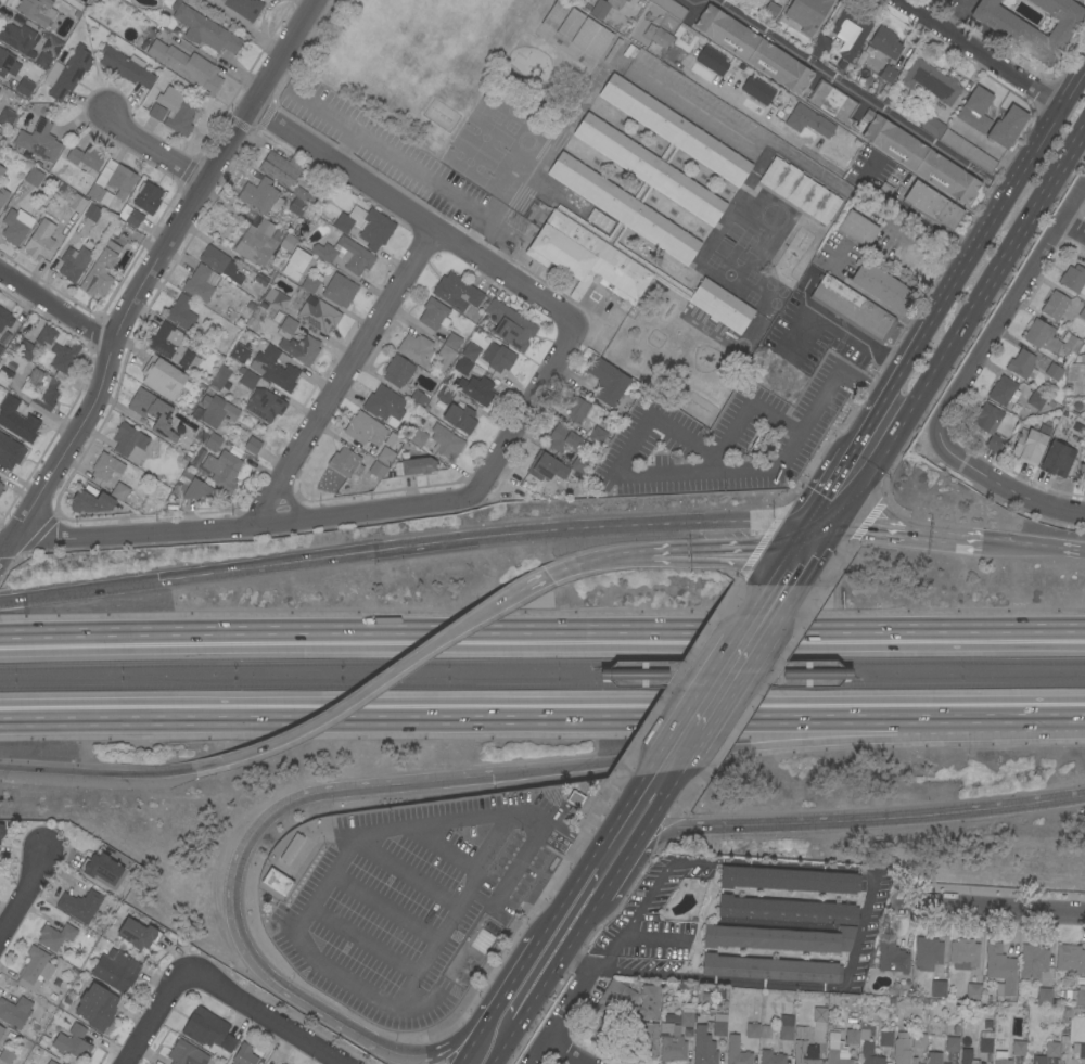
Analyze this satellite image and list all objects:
building: (627, 0)
building: (687, 0)
building: (767, 0)
building: (604, 7)
building: (243, 8)
building: (669, 8)
building: (771, 9)
building: (37, 11)
building: (807, 13)
building: (554, 15)
road: (954, 16)
building: (570, 25)
road: (243, 26)
building: (204, 29)
building: (1011, 29)
building: (851, 33)
building: (18, 37)
building: (659, 37)
building: (590, 38)
building: (884, 42)
building: (51, 47)
building: (819, 47)
building: (753, 49)
building: (612, 50)
road: (973, 53)
park: (417, 59)
building: (712, 61)
building: (8, 64)
building: (188, 66)
building: (125, 67)
building: (876, 67)
building: (71, 73)
building: (886, 74)
building: (931, 81)
building: (24, 87)
road: (844, 87)
building: (757, 90)
parking lot: (695, 103)
building: (832, 103)
building: (975, 110)
building: (176, 111)
building: (156, 113)
road: (320, 113)
building: (7, 117)
building: (807, 120)
building: (1007, 126)
park: (483, 137)
road: (736, 137)
building: (39, 141)
building: (954, 141)
road: (1080, 142)
road: (156, 148)
parking lot: (379, 148)
road: (810, 149)
road: (341, 153)
building: (86, 157)
building: (919, 158)
park: (467, 161)
building: (280, 168)
building: (1, 170)
building: (33, 178)
building: (122, 180)
road: (434, 181)
road: (1006, 189)
building: (800, 190)
building: (94, 192)
building: (3, 195)
building: (306, 195)
building: (260, 196)
building: (148, 197)
building: (105, 198)
building: (76, 203)
building: (638, 206)
building: (932, 206)
building: (296, 207)
road: (1031, 209)
building: (92, 213)
road: (409, 216)
building: (133, 218)
building: (599, 220)
building: (15, 226)
building: (366, 226)
road: (904, 228)
building: (857, 229)
road: (1072, 234)
building: (39, 241)
building: (255, 242)
building: (285, 243)
building: (346, 255)
building: (217, 261)
building: (74, 262)
building: (295, 264)
building: (100, 271)
road: (144, 274)
building: (1073, 279)
building: (199, 283)
building: (309, 284)
building: (881, 286)
building: (339, 291)
building: (457, 293)
building: (278, 300)
building: (1055, 305)
building: (852, 308)
road: (54, 311)
building: (180, 312)
building: (316, 312)
building: (1082, 312)
building: (434, 315)
building: (4, 319)
building: (510, 325)
road: (838, 330)
building: (1050, 339)
building: (452, 341)
building: (309, 342)
building: (171, 345)
building: (1, 348)
building: (56, 348)
building: (26, 349)
building: (416, 349)
building: (469, 350)
building: (238, 352)
park: (669, 352)
building: (444, 357)
building: (497, 357)
building: (1082, 358)
building: (462, 366)
building: (1022, 366)
building: (273, 367)
building: (397, 371)
building: (1054, 371)
building: (4, 376)
building: (162, 377)
building: (220, 377)
road: (343, 377)
building: (246, 379)
road: (963, 381)
building: (607, 382)
road: (888, 385)
building: (40, 388)
building: (476, 389)
building: (1003, 392)
building: (445, 395)
building: (418, 398)
road: (531, 402)
road: (750, 402)
building: (1041, 402)
building: (384, 403)
building: (265, 405)
building: (576, 409)
building: (151, 410)
building: (216, 411)
road: (909, 411)
building: (460, 418)
building: (1084, 418)
building: (17, 420)
building: (988, 425)
building: (365, 428)
building: (597, 435)
building: (418, 437)
building: (210, 440)
building: (561, 440)
building: (445, 441)
building: (129, 443)
building: (1031, 444)
building: (252, 446)
building: (10, 451)
building: (385, 456)
building: (1056, 460)
building: (345, 462)
building: (579, 464)
building: (418, 465)
building: (105, 466)
building: (545, 466)
building: (222, 470)
building: (376, 470)
building: (1082, 470)
road: (686, 472)
building: (0, 484)
road: (829, 485)
building: (1, 487)
building: (194, 487)
building: (0, 491)
building: (119, 491)
building: (90, 502)
traffic signals: (807, 521)
traffic signals: (838, 523)
road: (246, 528)
road: (910, 533)
road: (799, 535)
road: (829, 537)
road: (496, 538)
road: (1034, 547)
traffic signals: (790, 550)
road: (805, 550)
road: (709, 551)
traffic signals: (821, 551)
road: (598, 559)
road: (812, 566)
road: (779, 567)
road: (547, 576)
road: (78, 591)
road: (787, 605)
road: (541, 633)
railway: (541, 662)
road: (618, 670)
road: (642, 674)
road: (806, 675)
road: (705, 679)
road: (739, 679)
road: (833, 679)
railway: (850, 681)
railway: (542, 684)
road: (366, 691)
road: (541, 710)
road: (790, 747)
road: (691, 753)
road: (95, 771)
traffic signals: (497, 775)
building: (575, 798)
road: (880, 818)
building: (1, 831)
building: (291, 848)
road: (446, 849)
road: (590, 857)
road: (635, 860)
building: (101, 868)
road: (403, 874)
road: (509, 876)
building: (788, 880)
building: (277, 883)
road: (652, 892)
road: (20, 895)
parking lot: (413, 900)
road: (235, 902)
building: (79, 905)
road: (381, 908)
building: (787, 910)
road: (994, 910)
road: (585, 920)
road: (295, 925)
building: (138, 934)
building: (55, 936)
building: (779, 938)
road: (361, 940)
road: (553, 941)
road: (615, 947)
road: (853, 953)
building: (927, 953)
building: (963, 954)
building: (892, 956)
building: (1070, 959)
building: (1033, 961)
road: (578, 964)
building: (769, 969)
building: (999, 969)
building: (35, 970)
building: (115, 970)
road: (510, 983)
building: (937, 988)
building: (973, 991)
building: (1044, 996)
building: (1077, 997)
building: (629, 999)
building: (97, 1007)
road: (573, 1008)
building: (14, 1012)
building: (687, 1014)
building: (819, 1014)
building: (671, 1017)
road: (159, 1020)
road: (267, 1020)
building: (718, 1023)
building: (986, 1023)
building: (205, 1027)
building: (786, 1027)
building: (1, 1030)
building: (752, 1030)
building: (766, 1031)
building: (852, 1037)
building: (1063, 1038)
building: (885, 1039)
building: (646, 1040)
building: (918, 1040)
building: (72, 1042)
building: (985, 1042)
building: (228, 1043)
building: (952, 1043)
road: (472, 1044)
building: (671, 1044)
building: (703, 1047)
building: (1018, 1048)
road: (559, 1050)
building: (837, 1050)
building: (902, 1050)
building: (1078, 1050)
building: (736, 1052)
building: (804, 1052)
building: (1047, 1053)
building: (186, 1054)
building: (869, 1054)
building: (244, 1055)
building: (5, 1056)
building: (967, 1056)
building: (770, 1057)
building: (934, 1057)
building: (1000, 1057)
building: (49, 1062)
road: (460, 1063)

